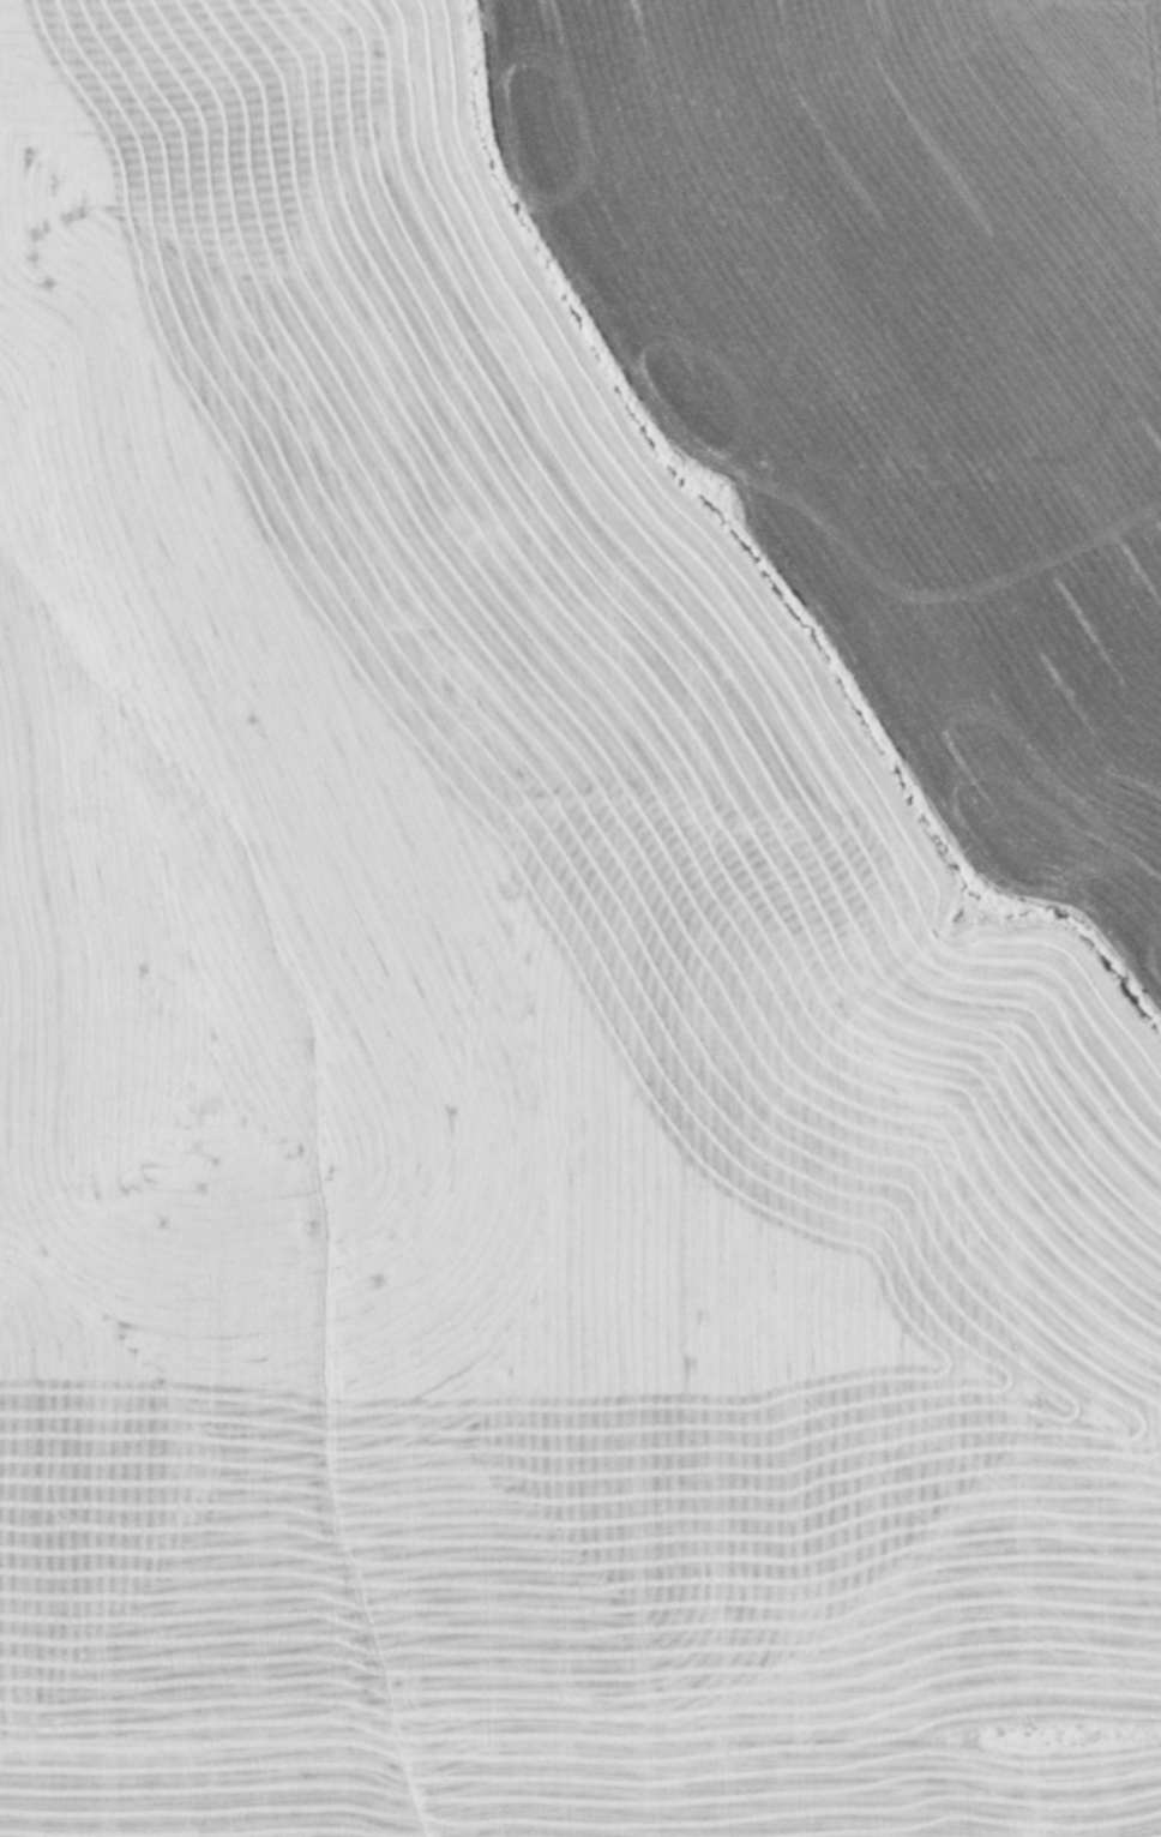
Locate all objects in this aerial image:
crop: (580, 918)

